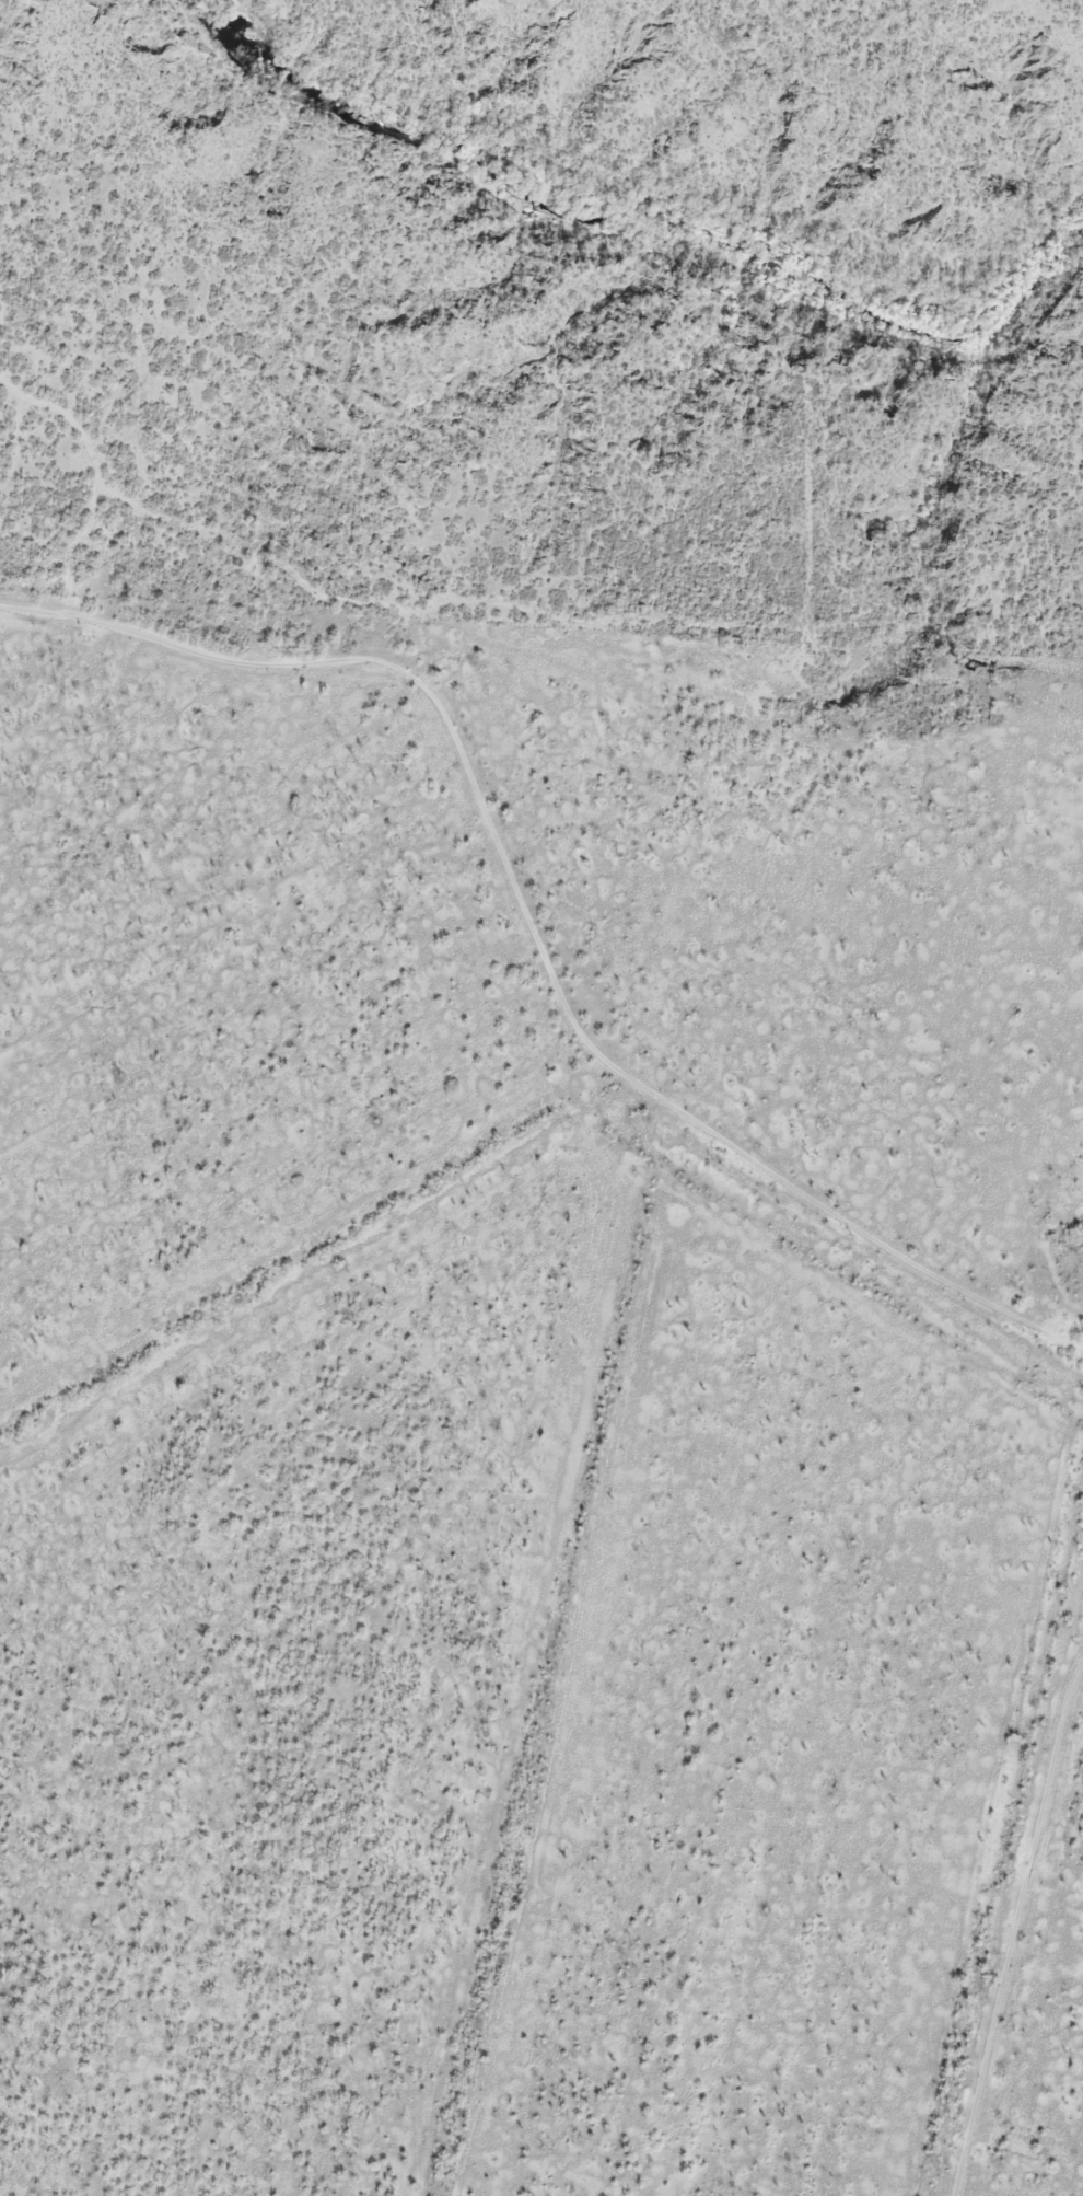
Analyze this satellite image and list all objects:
road: (534, 933)
road: (1013, 1930)

